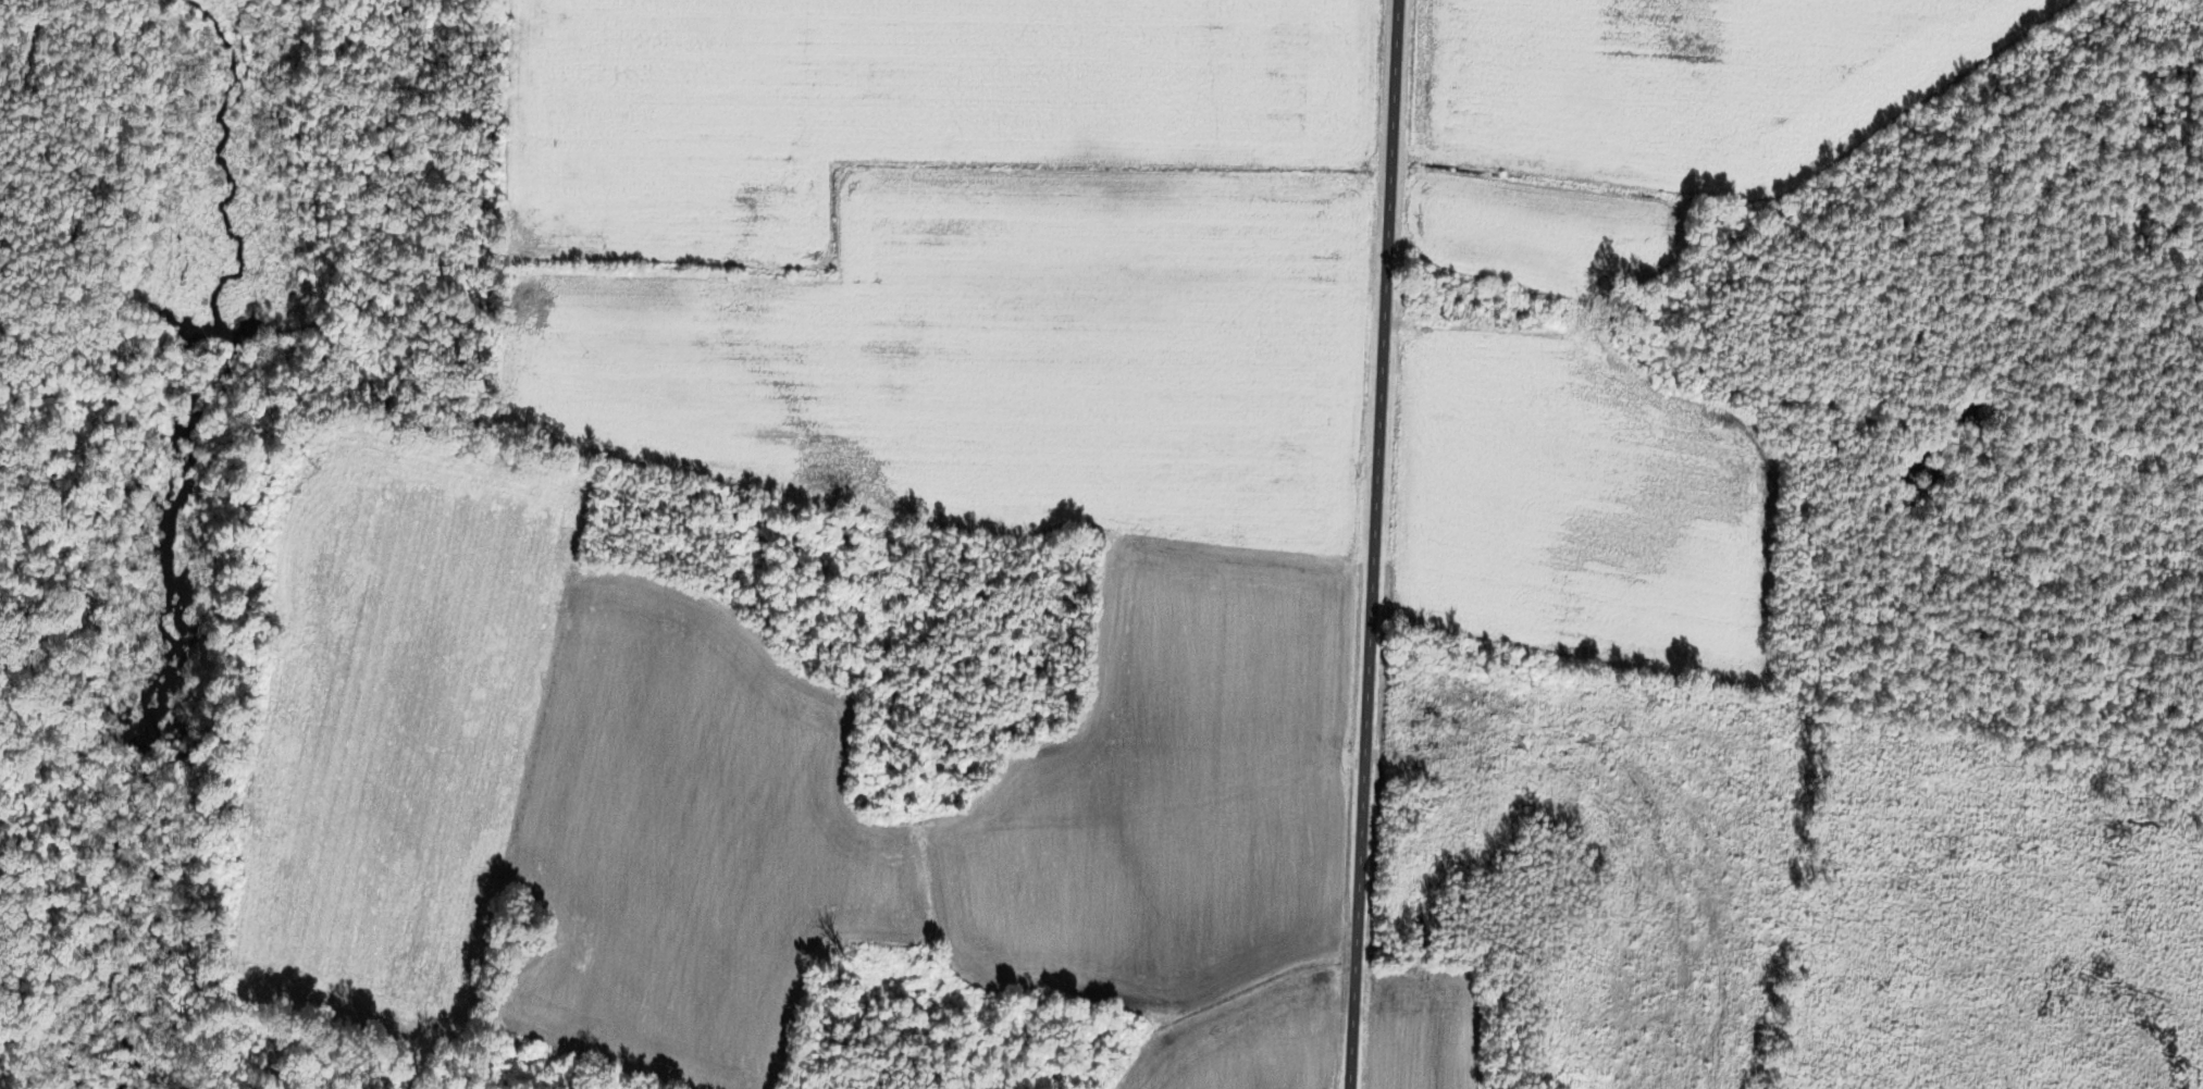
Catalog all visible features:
building: (1452, 299)
building: (1500, 311)
road: (1372, 544)

